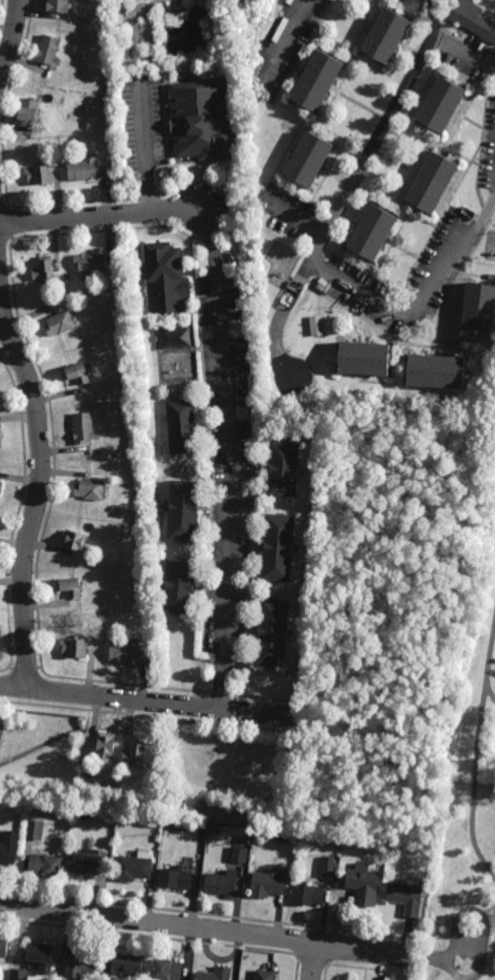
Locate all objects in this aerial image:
building: (55, 6)
building: (474, 19)
road: (8, 32)
building: (385, 34)
road: (283, 44)
road: (463, 52)
building: (46, 53)
building: (316, 79)
building: (441, 104)
building: (25, 113)
building: (197, 120)
road: (145, 156)
building: (307, 159)
building: (81, 170)
building: (36, 176)
building: (432, 182)
road: (348, 191)
road: (101, 216)
road: (291, 216)
building: (372, 233)
building: (90, 264)
building: (40, 271)
building: (163, 280)
road: (421, 301)
building: (475, 313)
building: (59, 325)
building: (364, 359)
building: (434, 373)
building: (74, 376)
building: (178, 428)
building: (81, 429)
building: (0, 443)
road: (226, 457)
building: (281, 468)
building: (0, 484)
road: (40, 484)
building: (0, 486)
building: (90, 492)
building: (181, 513)
building: (73, 543)
building: (276, 547)
building: (177, 587)
building: (68, 588)
building: (269, 633)
building: (72, 650)
building: (124, 655)
road: (486, 689)
road: (491, 693)
road: (146, 700)
road: (293, 723)
building: (103, 747)
building: (133, 756)
road: (378, 778)
road: (473, 813)
building: (34, 829)
building: (7, 850)
building: (239, 854)
building: (82, 864)
building: (328, 865)
building: (43, 867)
building: (132, 868)
building: (173, 881)
park: (458, 882)
building: (220, 885)
building: (267, 885)
building: (361, 886)
building: (308, 896)
building: (404, 897)
road: (478, 916)
road: (159, 923)
parking lot: (462, 947)
road: (362, 948)
building: (2, 951)
building: (39, 957)
road: (315, 961)
road: (434, 964)
building: (128, 965)
building: (78, 966)
building: (165, 971)
road: (327, 973)
building: (18, 974)
building: (214, 975)
building: (262, 976)
road: (463, 979)

